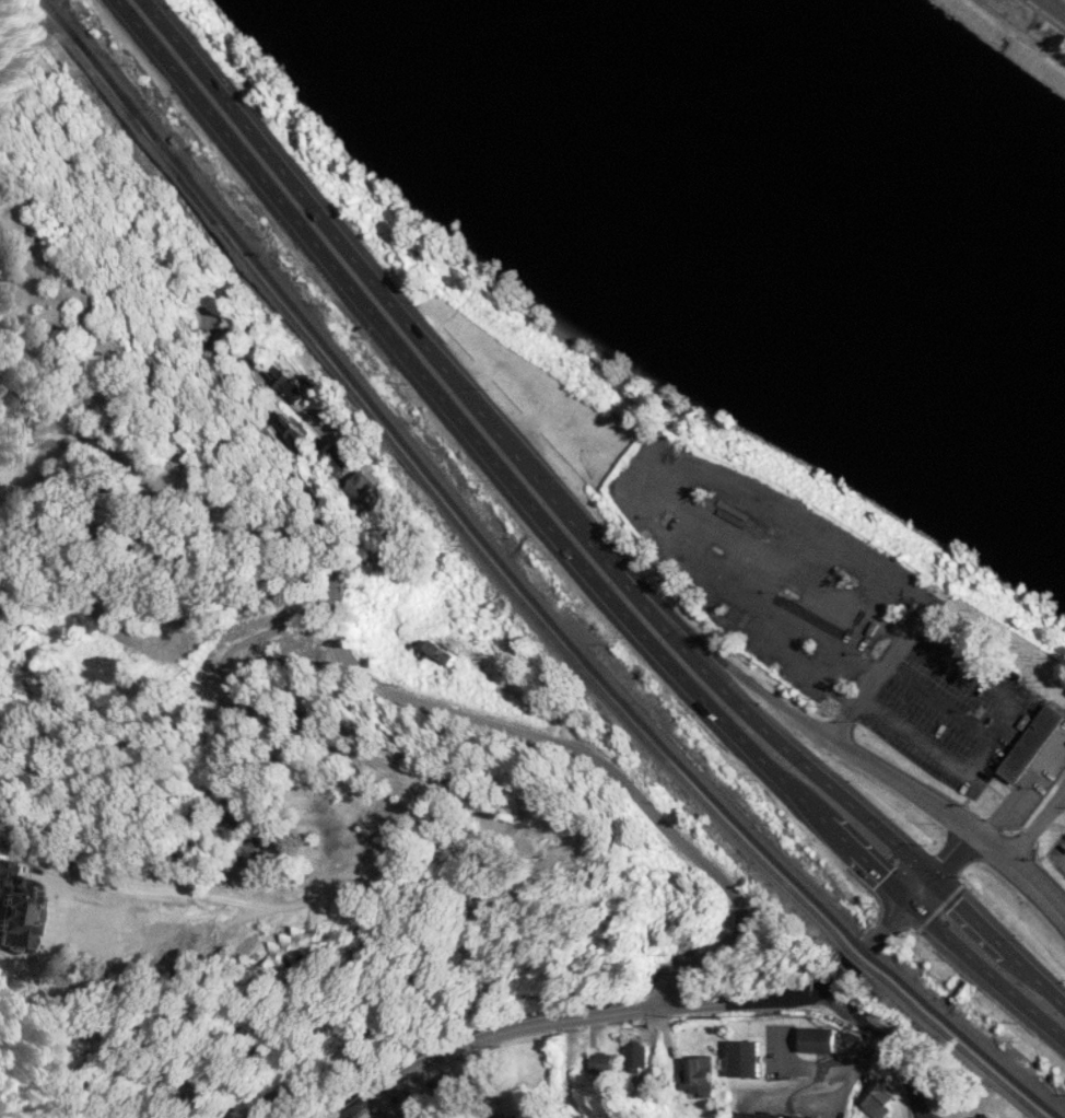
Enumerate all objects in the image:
road: (1053, 8)
road: (1042, 15)
railway: (58, 18)
road: (1018, 33)
railway: (121, 109)
railway: (142, 127)
river: (812, 212)
road: (417, 318)
railway: (449, 500)
road: (564, 543)
parking lot: (761, 560)
railway: (515, 594)
road: (880, 667)
building: (1008, 667)
road: (384, 677)
road: (758, 685)
building: (1063, 694)
road: (535, 700)
road: (936, 700)
parking lot: (948, 709)
road: (293, 726)
road: (988, 738)
building: (1026, 743)
road: (1022, 780)
road: (953, 820)
road: (1034, 822)
road: (869, 824)
parking lot: (1057, 853)
road: (941, 866)
traffic signals: (931, 880)
traffic signals: (911, 900)
building: (291, 946)
railway: (866, 950)
railway: (859, 957)
road: (629, 1009)
building: (817, 1038)
railway: (968, 1039)
road: (889, 1041)
railway: (957, 1043)
building: (744, 1057)
building: (633, 1058)
building: (600, 1063)
building: (697, 1074)
road: (471, 1080)
road: (815, 1080)
building: (875, 1098)
building: (764, 1115)
building: (984, 1115)
building: (512, 1116)
building: (804, 1116)
building: (971, 1117)

